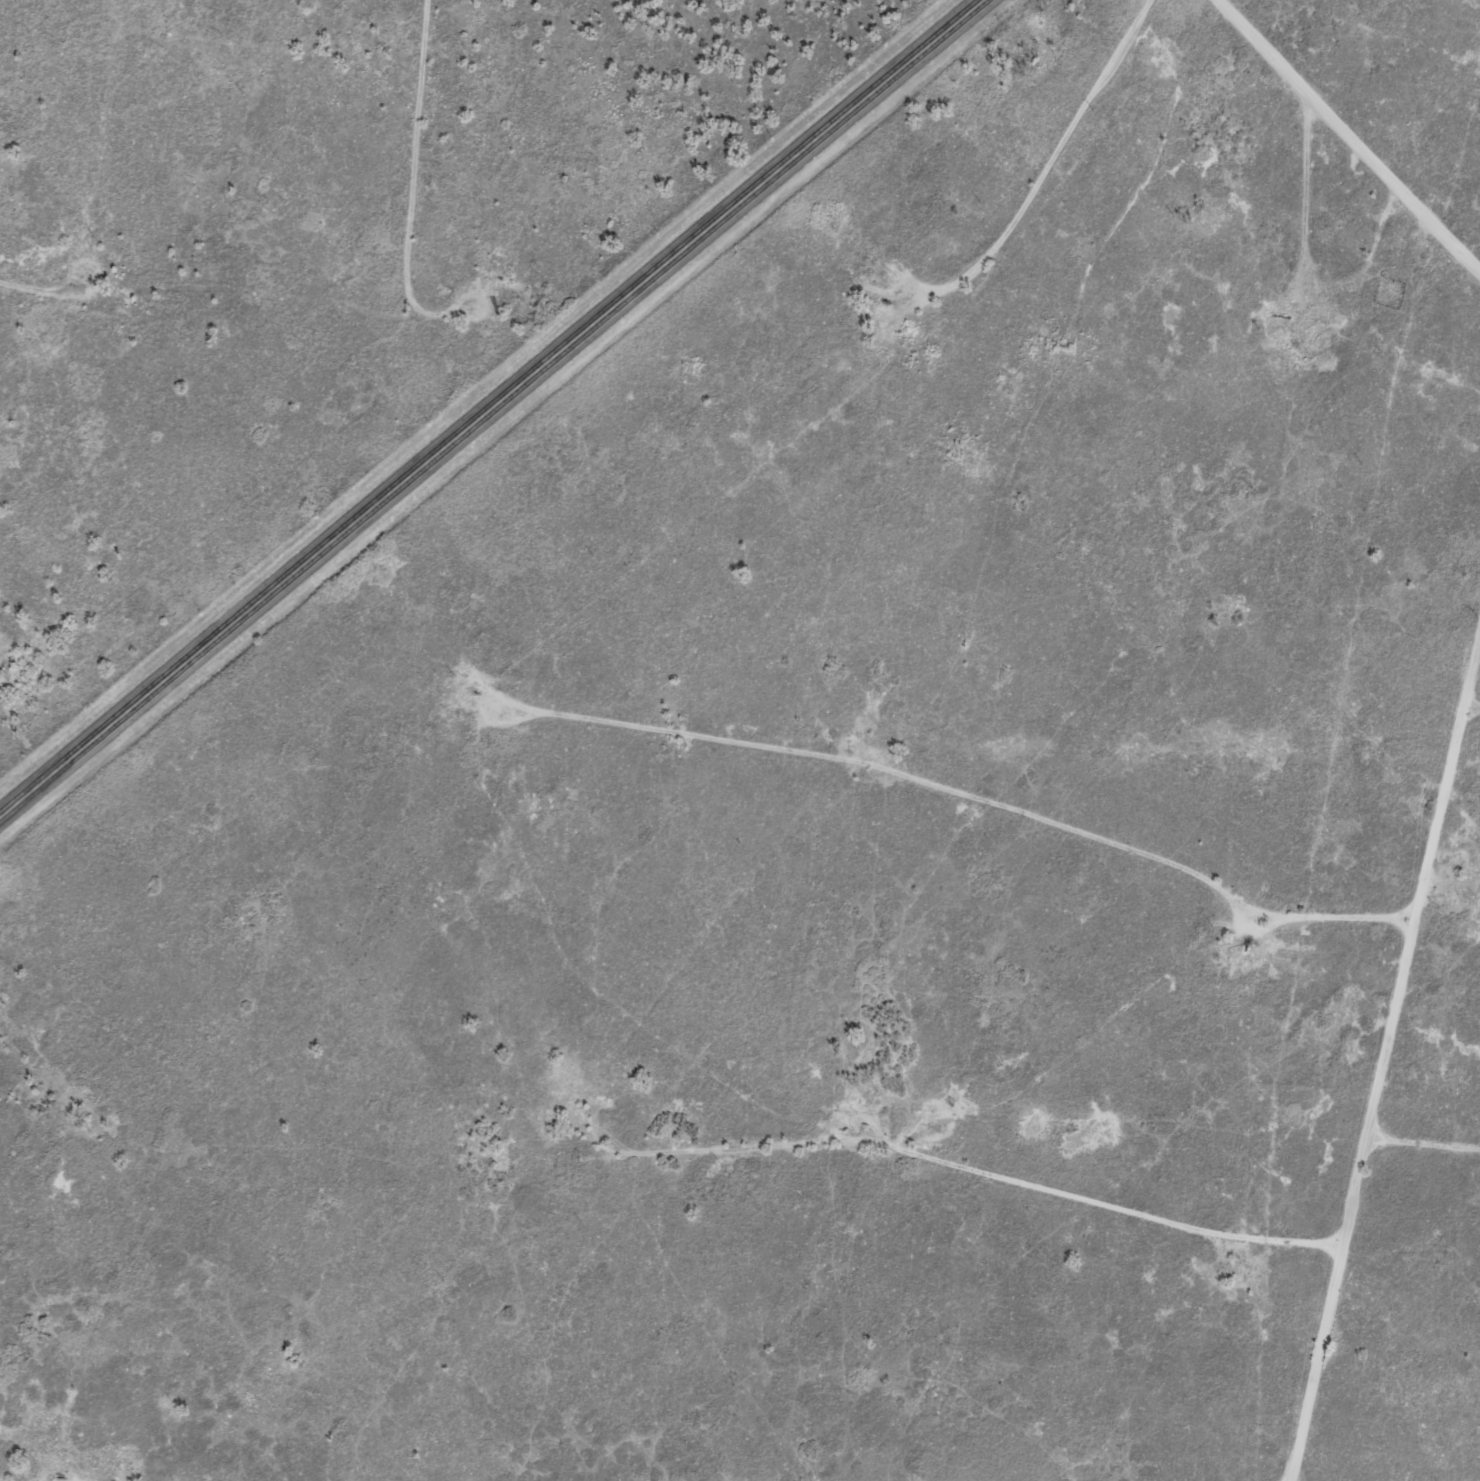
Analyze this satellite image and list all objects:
road: (19, 35)
road: (1377, 111)
road: (456, 159)
road: (104, 205)
road: (298, 311)
road: (491, 408)
road: (25, 675)
road: (1017, 808)
road: (1467, 871)
road: (1037, 1162)
road: (1444, 1179)
road: (739, 1305)

